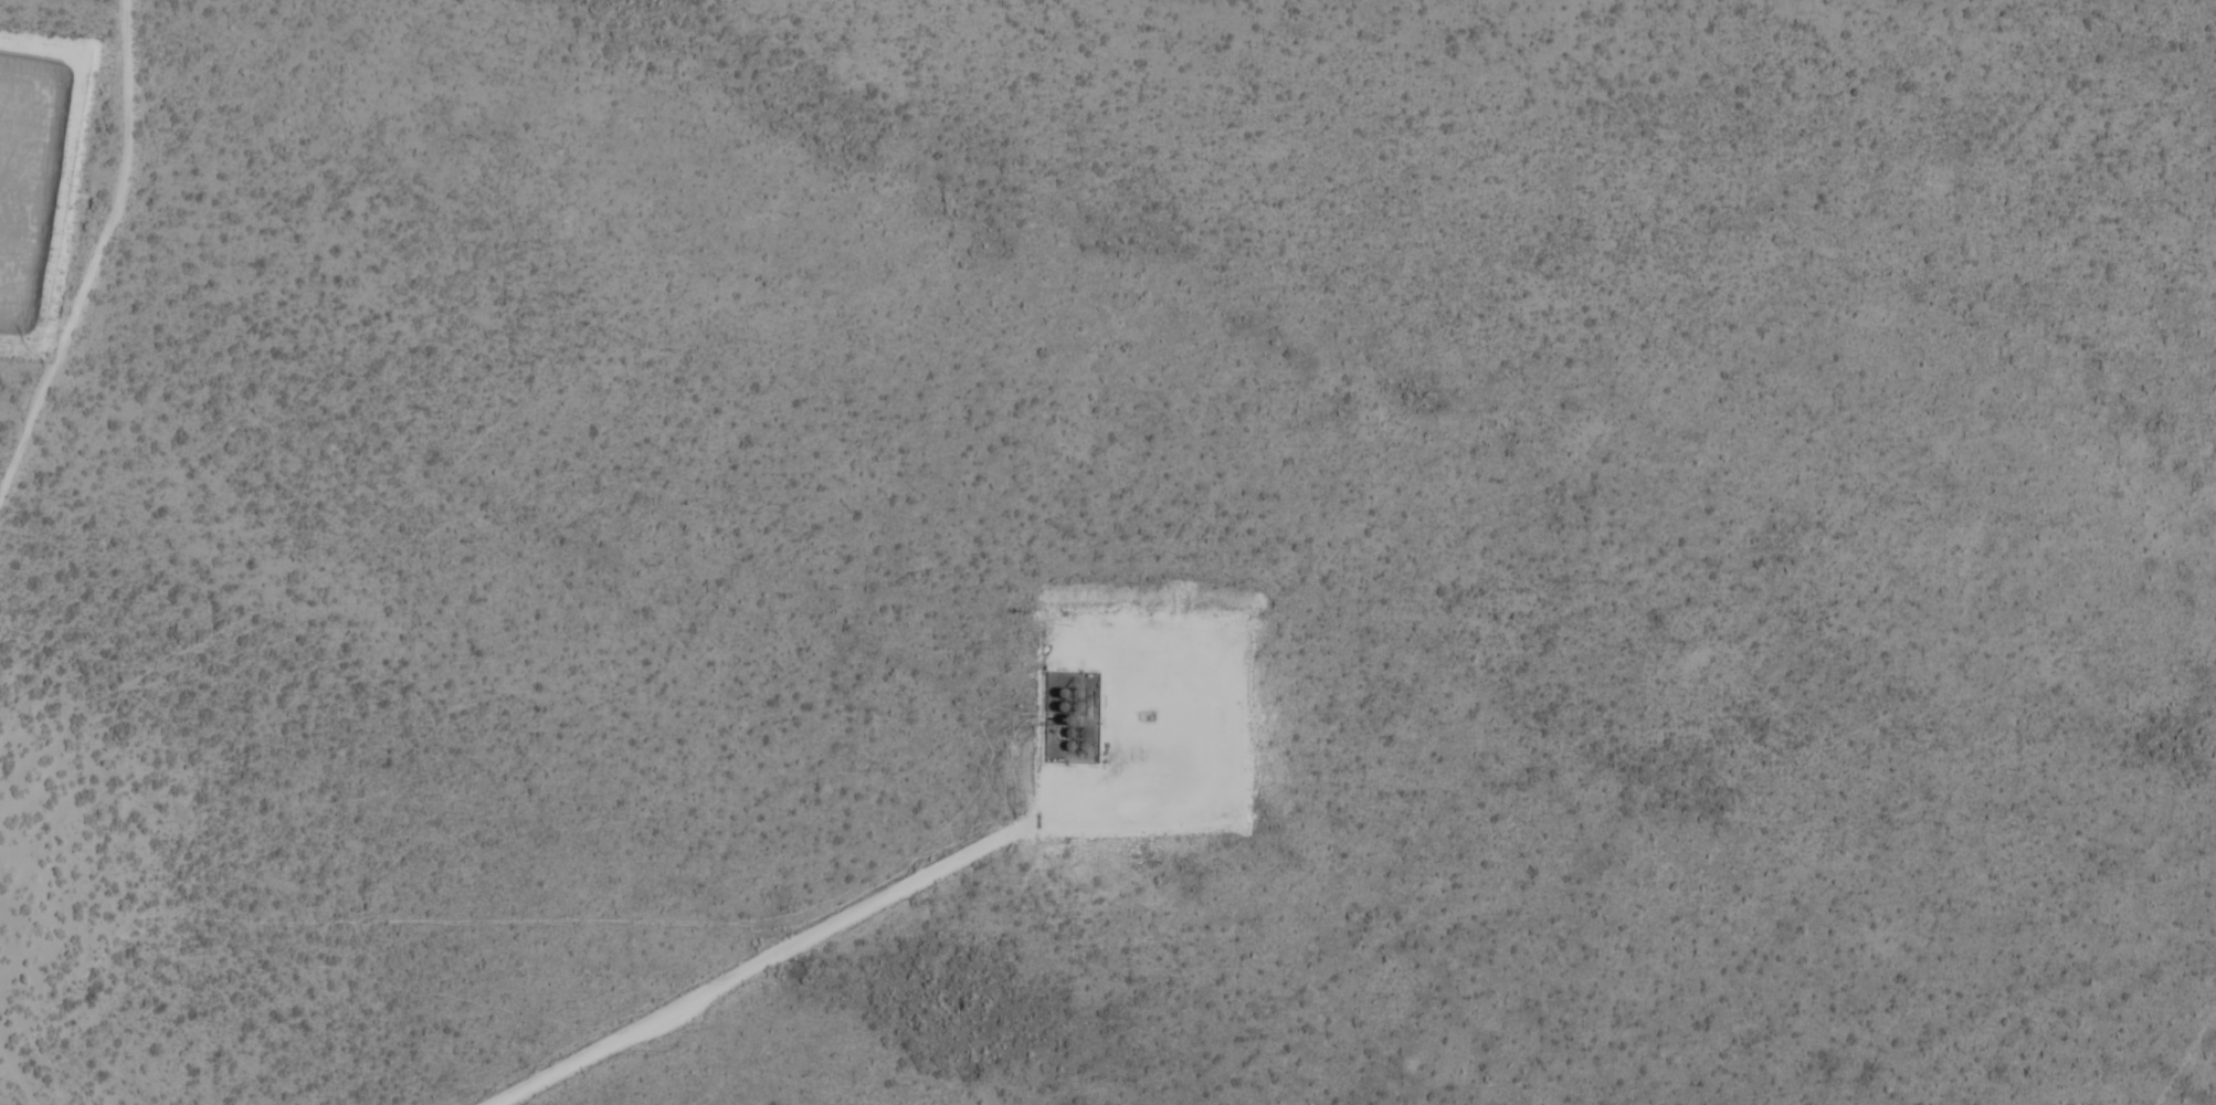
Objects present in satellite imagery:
road: (105, 270)
road: (799, 950)

